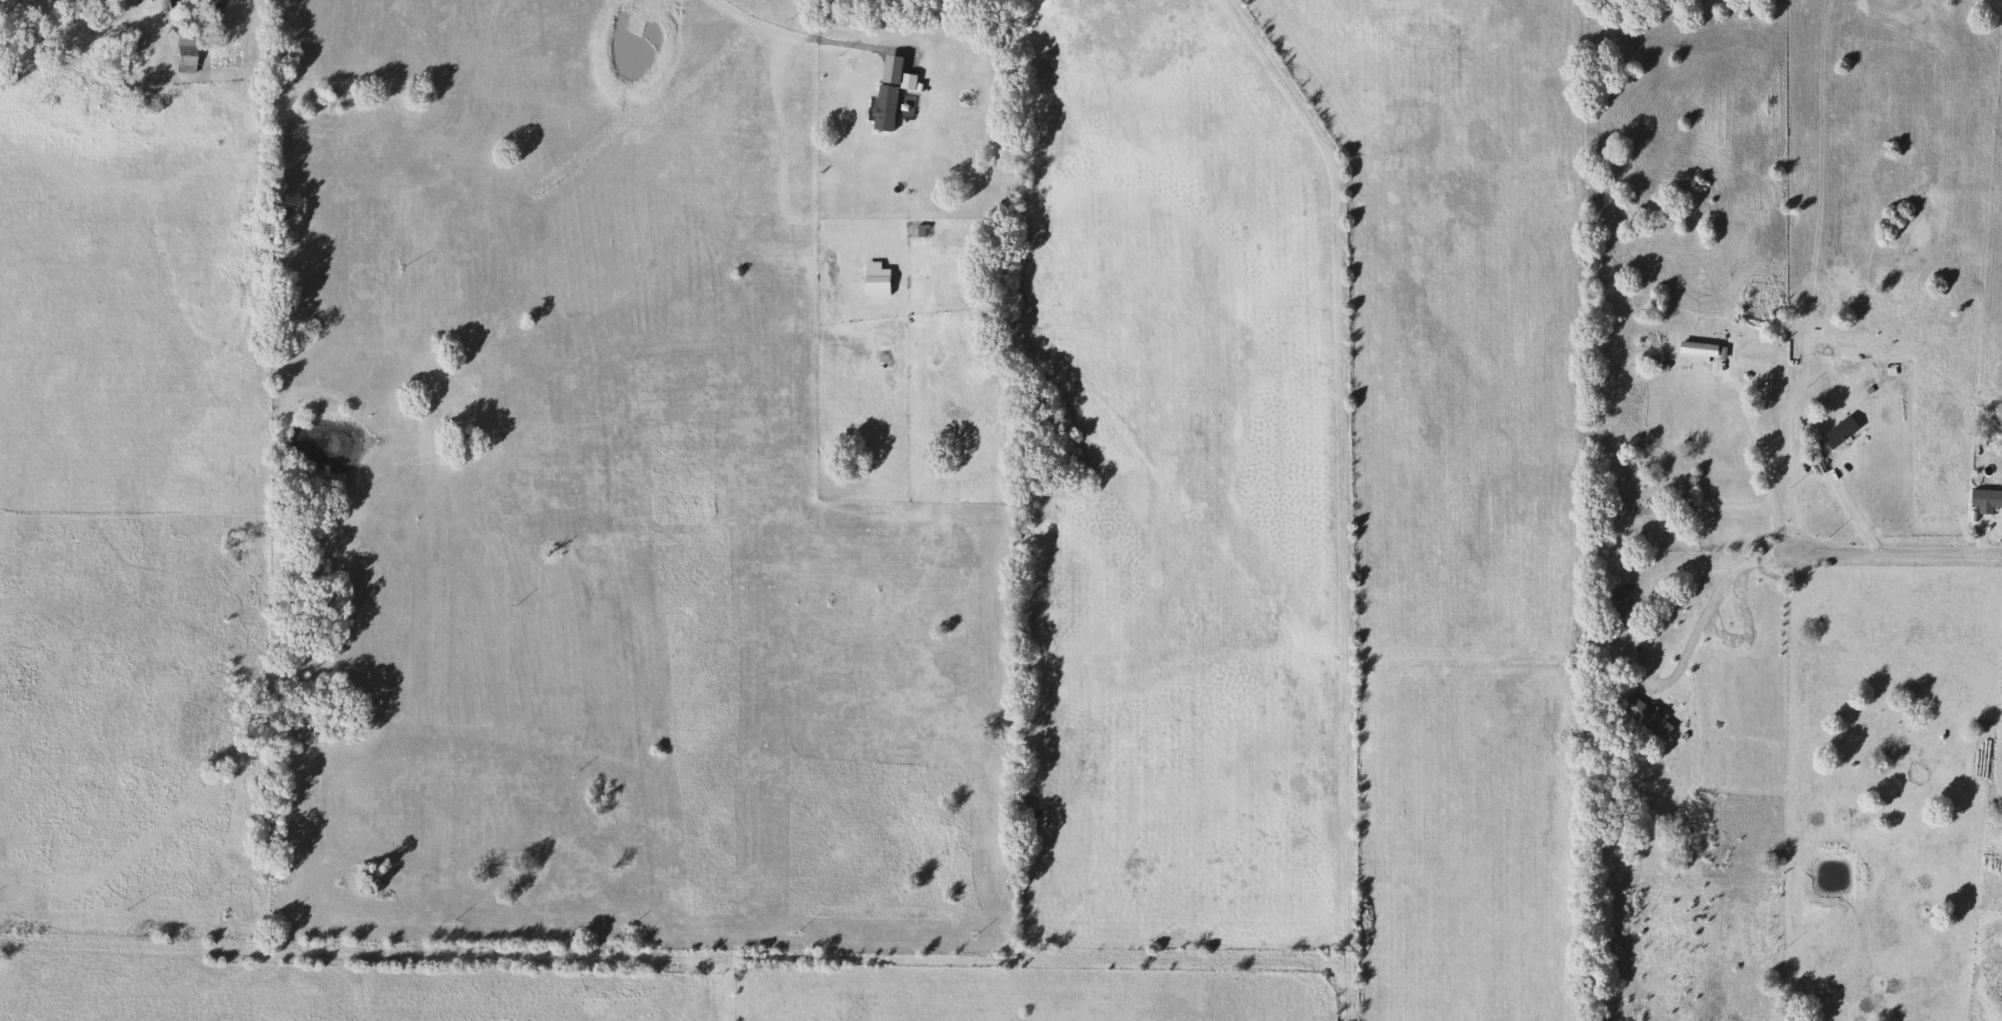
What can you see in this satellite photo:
road: (813, 39)
building: (191, 54)
building: (1695, 349)
building: (1837, 432)
road: (1352, 450)
road: (1760, 462)
road: (1849, 512)
road: (1876, 554)
road: (1697, 571)
road: (1710, 617)
building: (1642, 716)
road: (50, 926)
road: (1352, 972)

